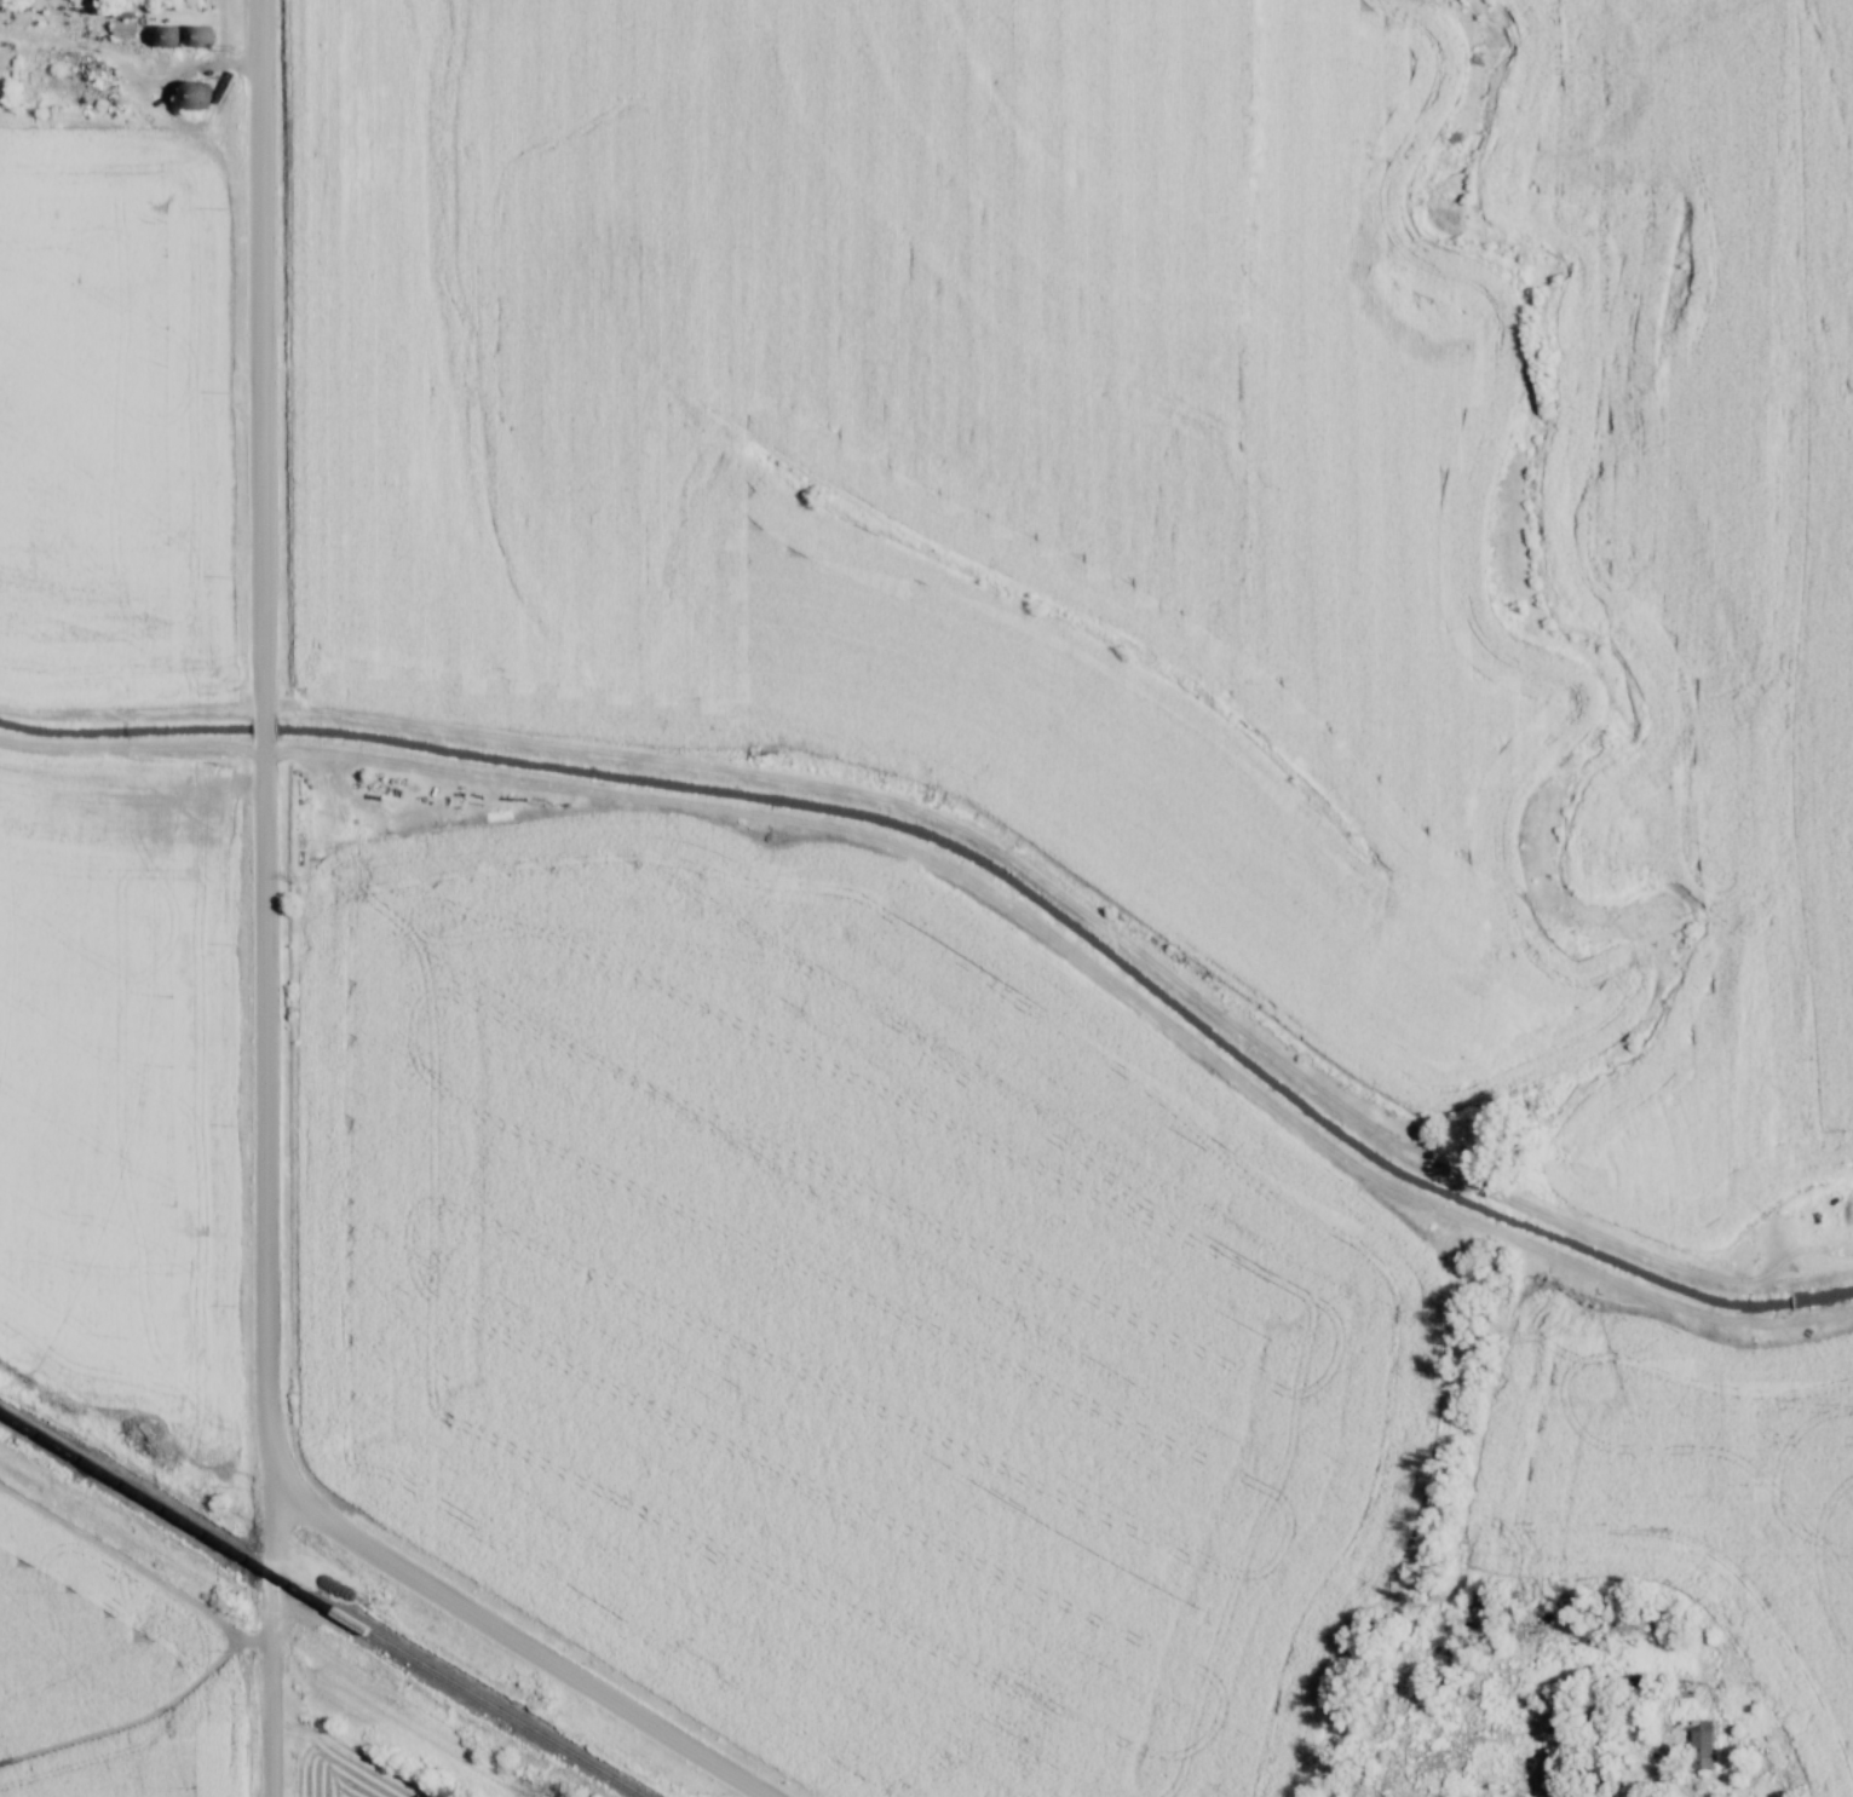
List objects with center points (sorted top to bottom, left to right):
building: (172, 36)
building: (206, 36)
building: (198, 96)
road: (260, 738)
railway: (324, 1602)
road: (271, 1635)
road: (513, 1642)
building: (1697, 1744)
road: (1667, 1773)

